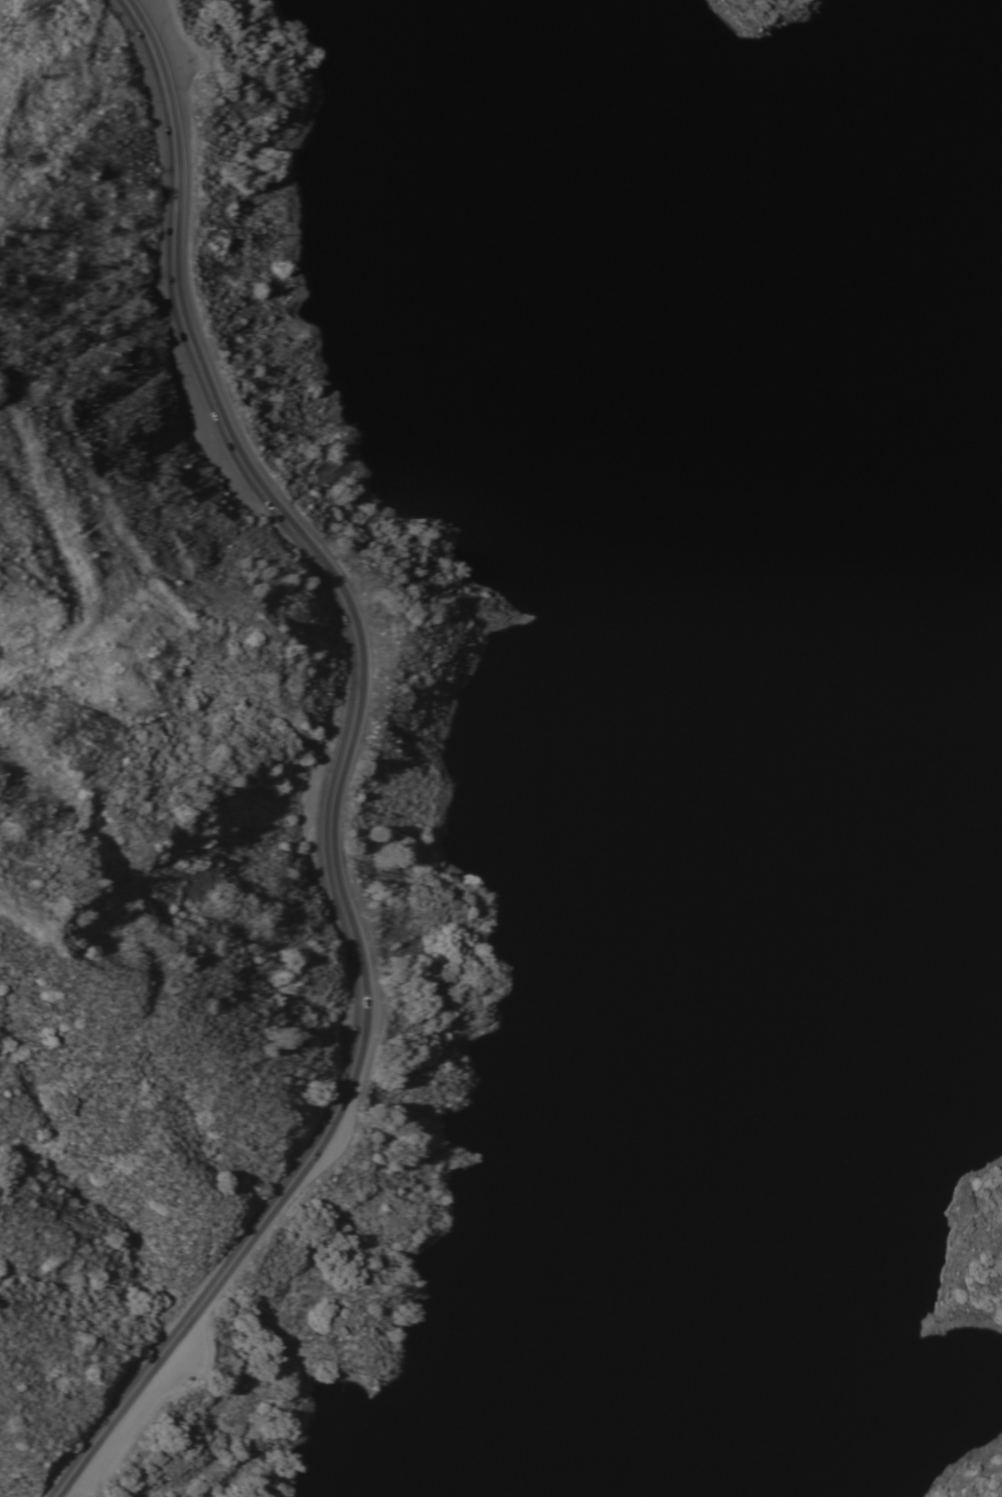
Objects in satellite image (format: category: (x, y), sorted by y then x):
parking lot: (184, 43)
river: (808, 95)
river: (634, 98)
road: (336, 768)
river: (823, 790)
river: (673, 1330)
parking lot: (146, 1405)

